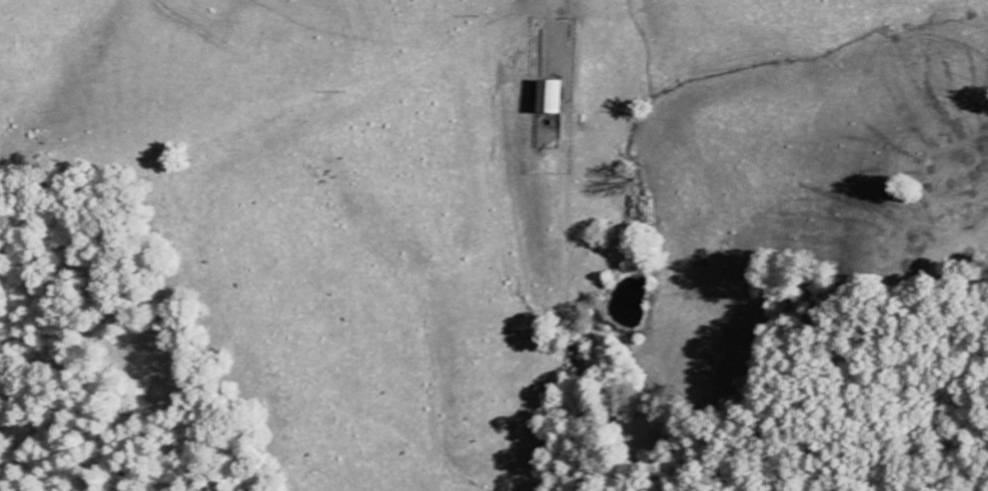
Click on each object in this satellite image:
building: (546, 98)
road: (583, 137)

